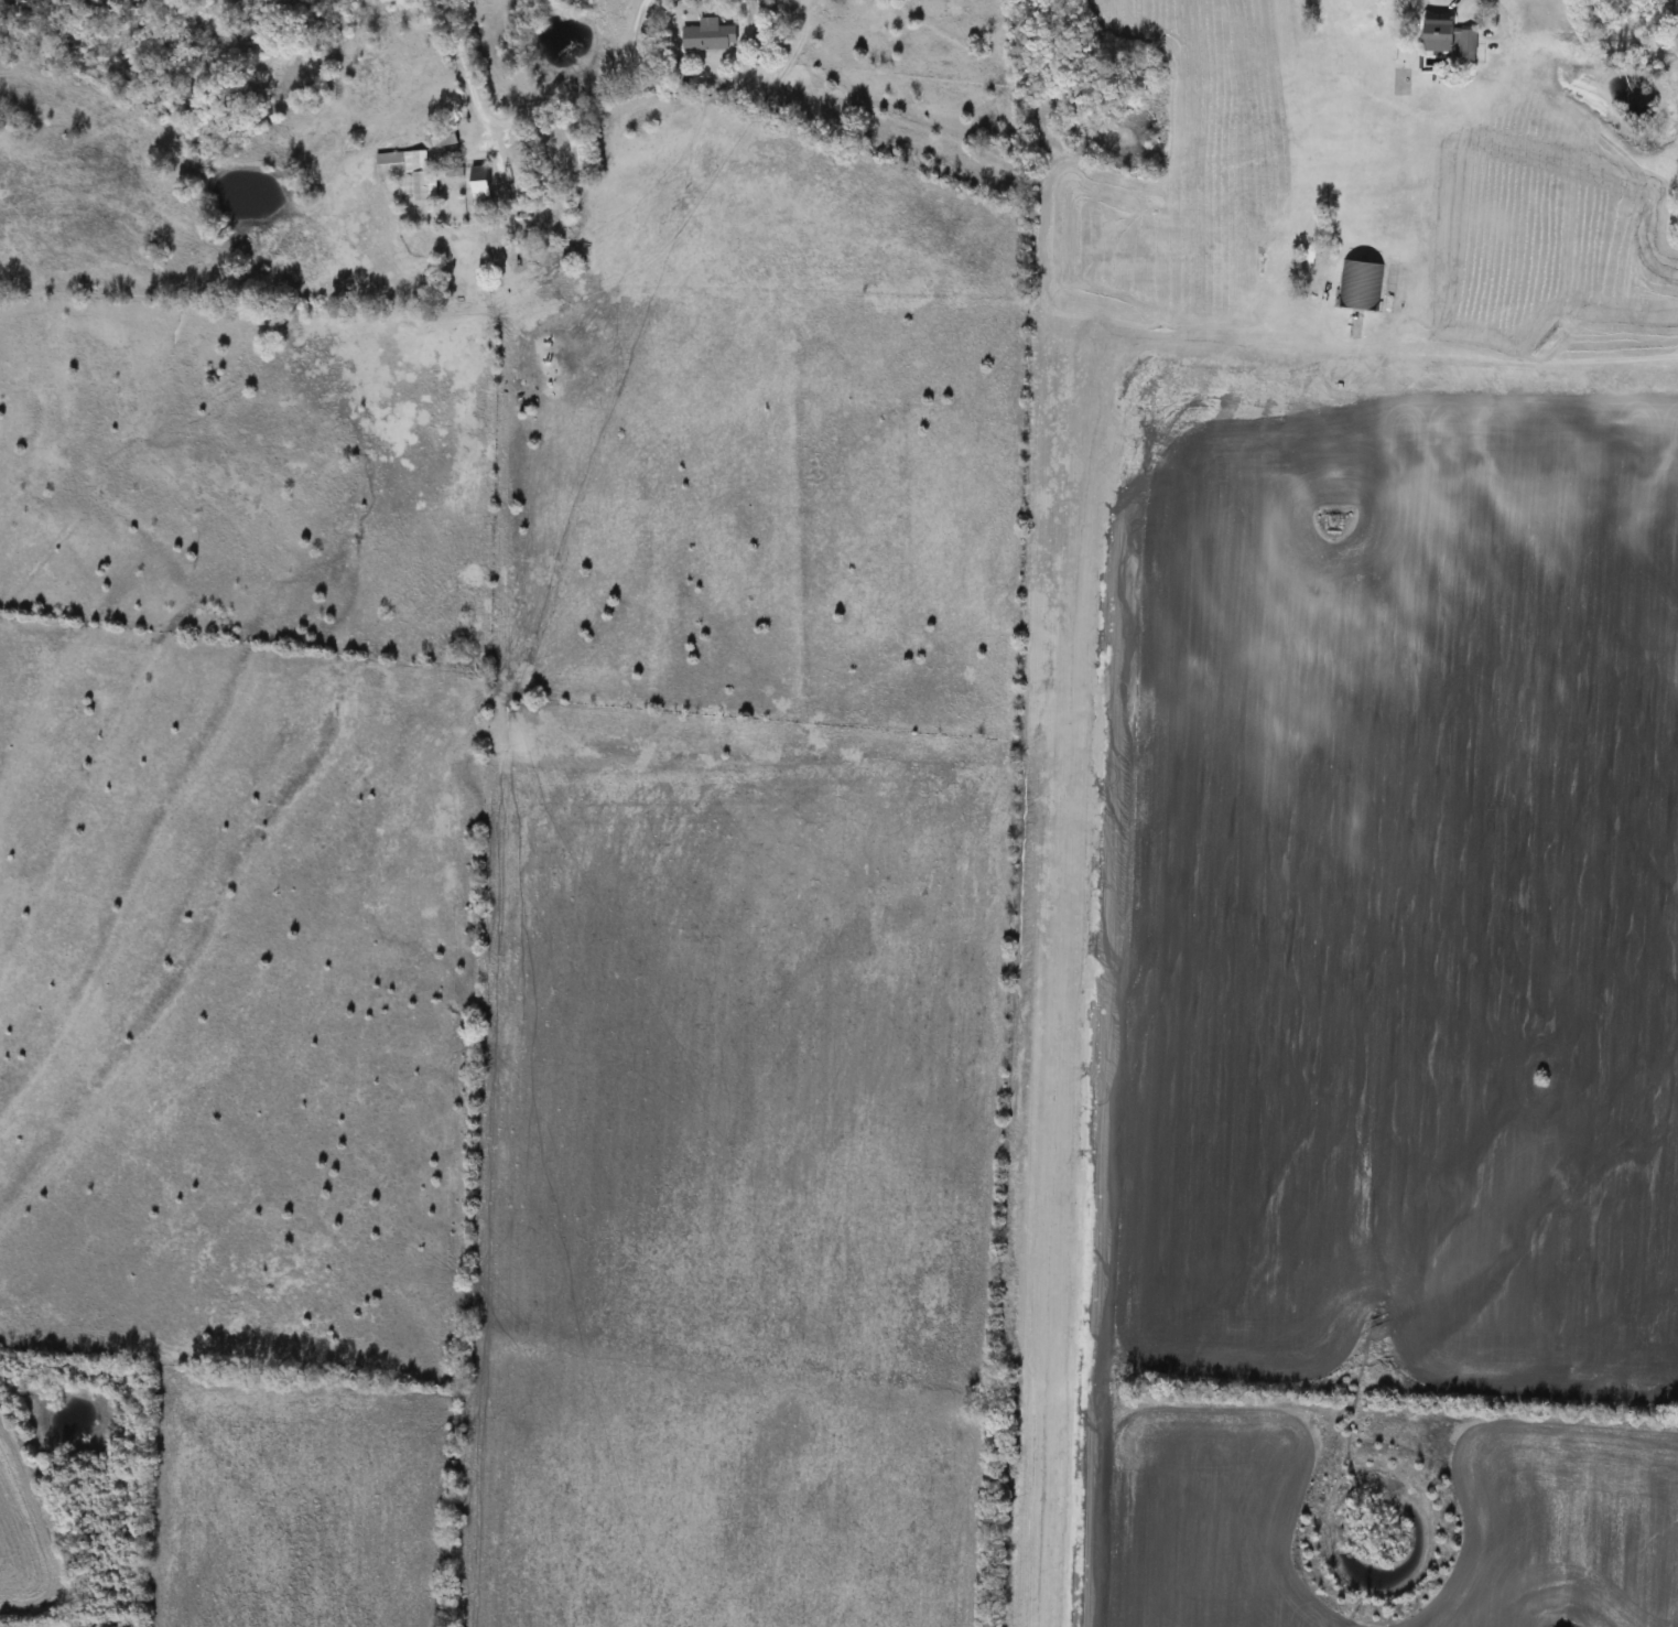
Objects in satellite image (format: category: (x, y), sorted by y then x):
building: (711, 36)
building: (1452, 40)
road: (532, 111)
building: (444, 137)
building: (578, 151)
building: (409, 173)
building: (481, 183)
airport hangar: (1361, 284)
building: (1360, 287)
airport runway: (1065, 951)

